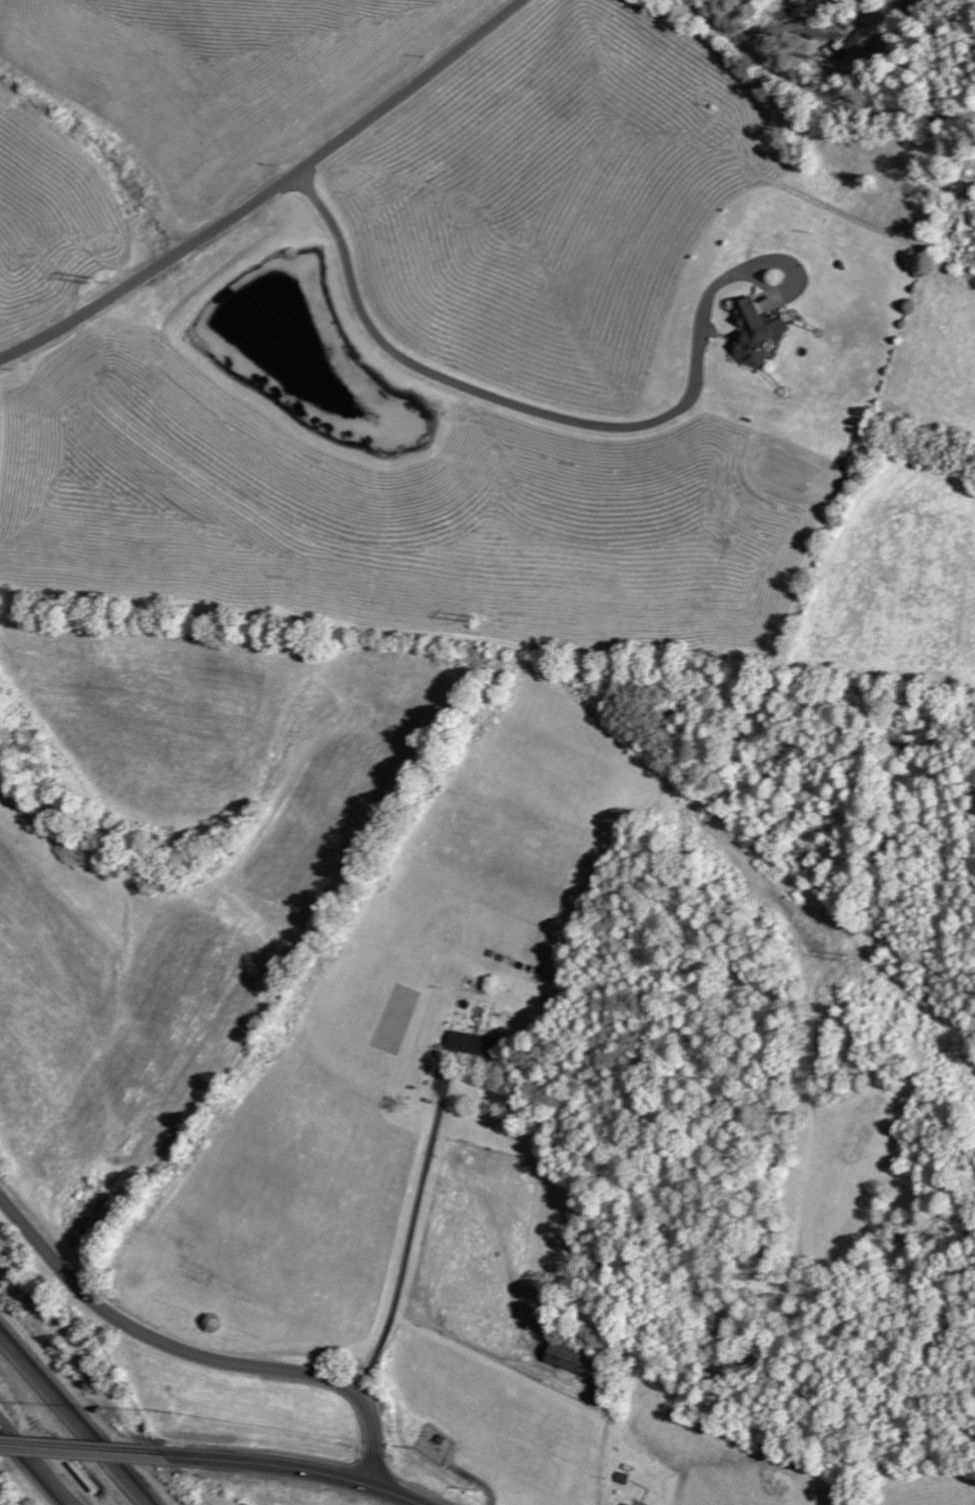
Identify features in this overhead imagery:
building: (850, 44)
road: (271, 194)
building: (756, 331)
building: (469, 1043)
road: (200, 1355)
building: (572, 1359)
road: (69, 1424)
road: (85, 1449)
road: (40, 1458)
road: (298, 1470)

